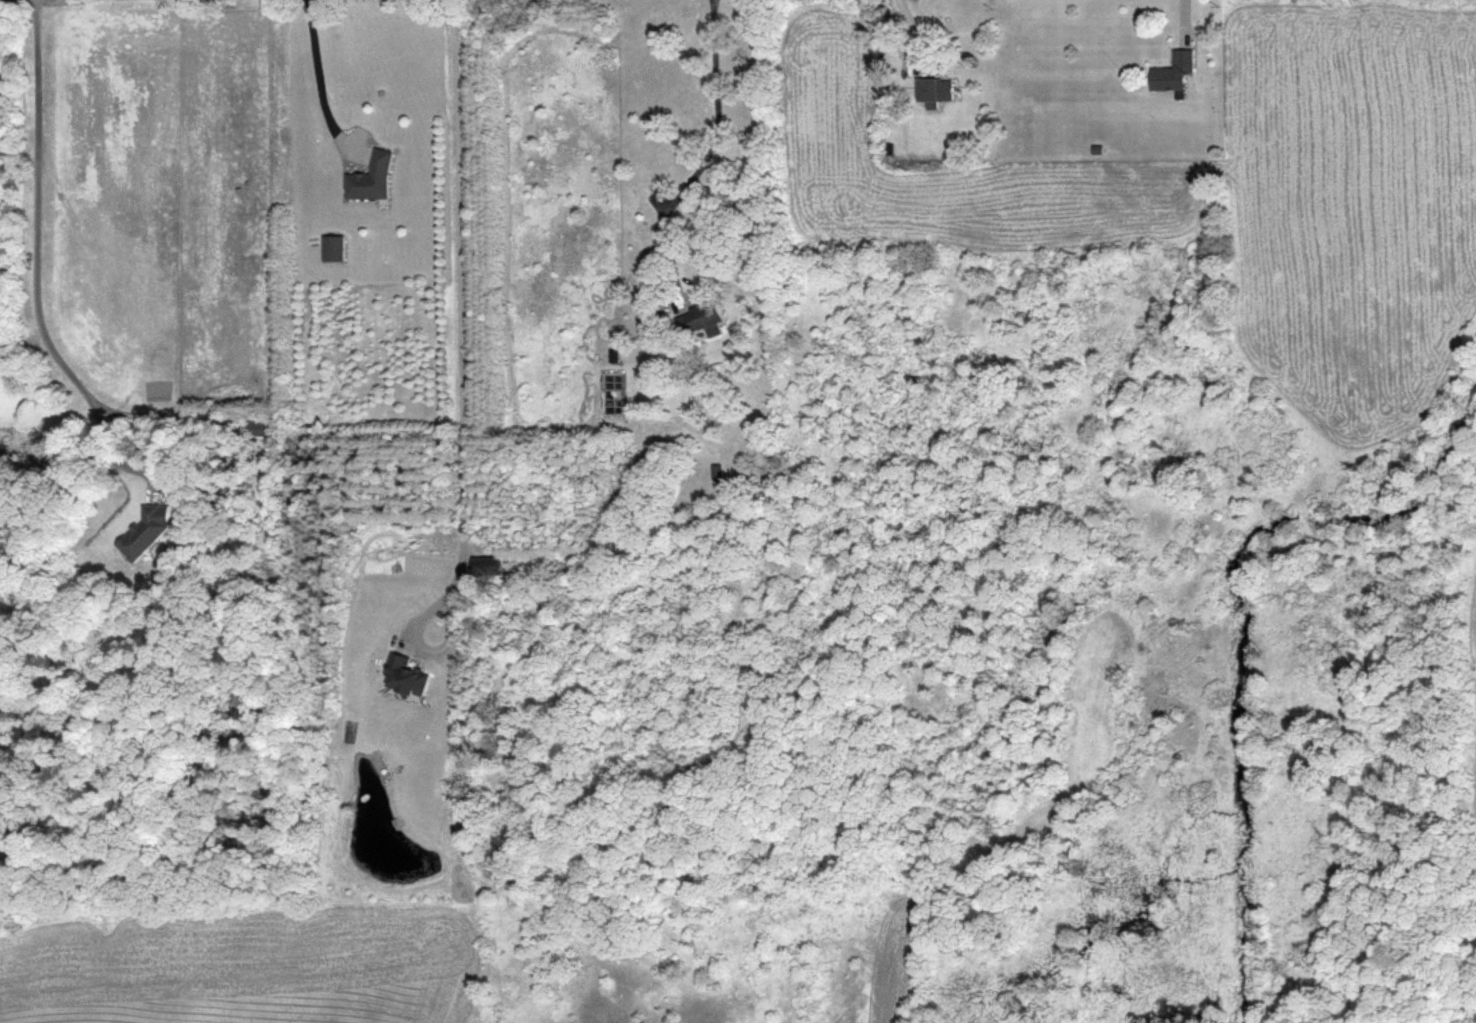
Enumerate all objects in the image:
road: (318, 66)
building: (1174, 70)
building: (935, 89)
road: (703, 153)
building: (372, 177)
building: (334, 247)
road: (39, 269)
road: (461, 289)
building: (701, 318)
building: (144, 530)
building: (487, 565)
road: (424, 646)
building: (406, 674)
crop: (243, 964)
crop: (832, 977)

